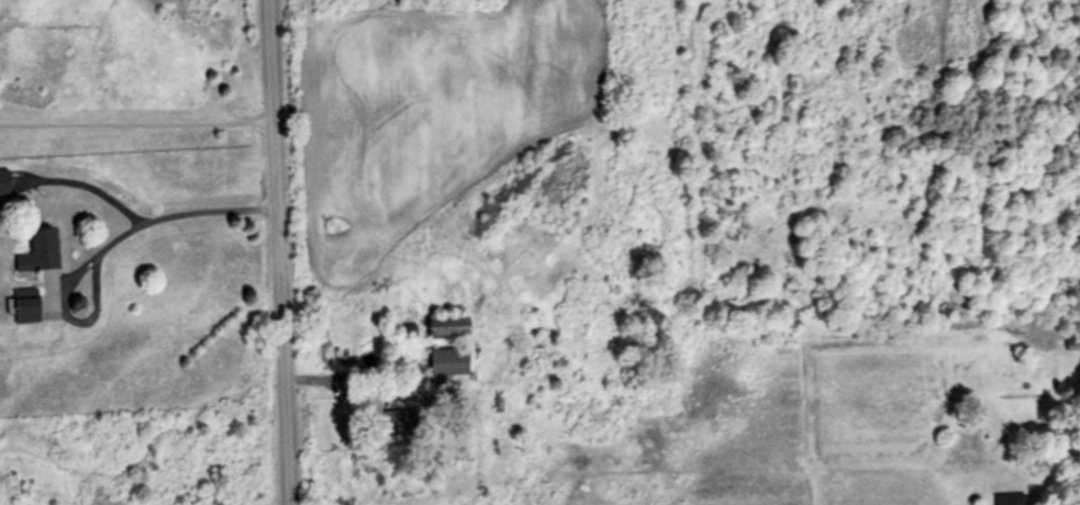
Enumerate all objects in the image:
road: (135, 121)
building: (4, 182)
road: (159, 213)
building: (42, 250)
road: (276, 252)
building: (34, 307)
building: (450, 325)
building: (409, 332)
building: (452, 361)
building: (403, 422)
building: (1010, 498)

